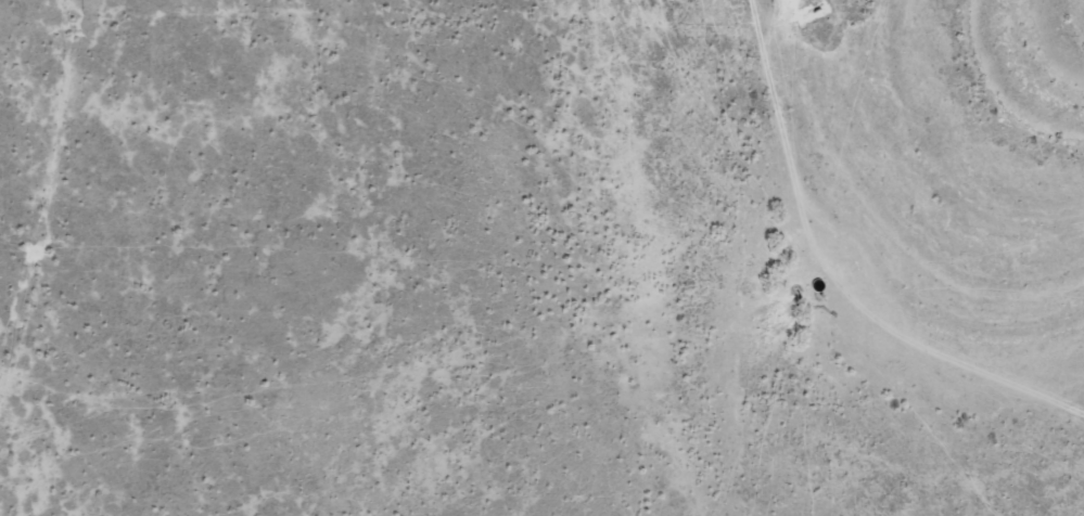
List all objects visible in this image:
road: (996, 385)

